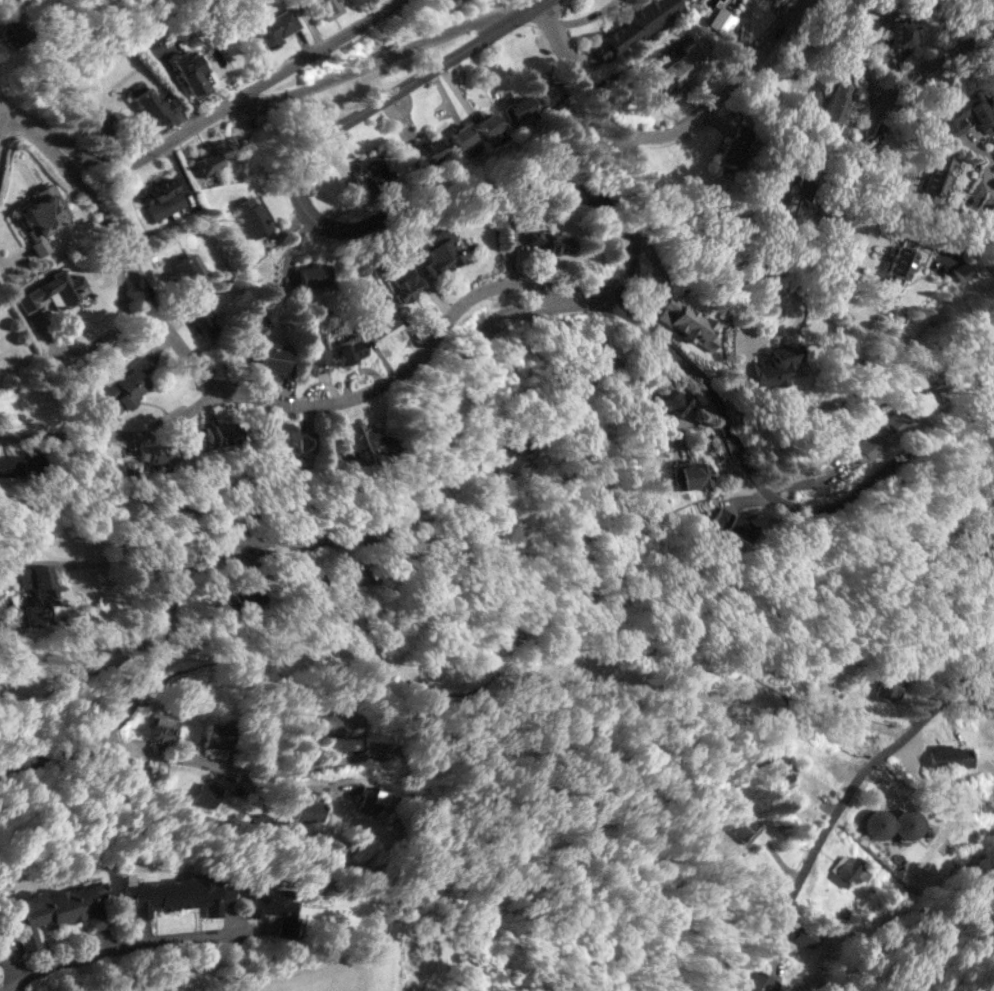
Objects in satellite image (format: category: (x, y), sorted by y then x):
building: (443, 4)
building: (327, 7)
building: (722, 20)
building: (17, 22)
building: (277, 27)
building: (633, 27)
building: (899, 32)
road: (374, 61)
building: (678, 69)
building: (189, 71)
road: (724, 89)
building: (547, 90)
building: (147, 100)
building: (836, 103)
building: (517, 108)
road: (213, 114)
building: (963, 114)
building: (487, 124)
building: (465, 138)
building: (733, 144)
building: (430, 147)
building: (209, 157)
building: (375, 170)
road: (988, 174)
building: (937, 176)
building: (160, 198)
building: (792, 199)
building: (252, 214)
building: (42, 215)
road: (115, 238)
building: (550, 241)
building: (442, 250)
building: (196, 264)
building: (899, 264)
road: (758, 267)
building: (961, 272)
building: (187, 273)
building: (314, 274)
building: (403, 284)
building: (50, 291)
road: (552, 302)
building: (194, 310)
building: (380, 316)
building: (203, 320)
building: (686, 320)
road: (107, 342)
building: (348, 349)
building: (273, 354)
building: (985, 359)
building: (318, 360)
building: (778, 363)
building: (125, 385)
building: (674, 402)
road: (307, 405)
building: (896, 421)
building: (219, 433)
building: (278, 433)
building: (863, 448)
building: (153, 453)
building: (516, 456)
building: (18, 463)
building: (688, 475)
road: (758, 484)
building: (729, 525)
building: (508, 528)
road: (976, 529)
building: (496, 541)
building: (357, 573)
building: (36, 592)
road: (985, 611)
building: (888, 685)
park: (54, 701)
building: (343, 725)
building: (162, 730)
building: (217, 735)
building: (948, 757)
building: (779, 768)
building: (137, 770)
road: (223, 771)
road: (848, 790)
building: (207, 794)
building: (370, 798)
building: (309, 810)
building: (889, 823)
building: (176, 893)
building: (275, 907)
building: (60, 908)
building: (802, 935)
road: (132, 947)
building: (757, 982)

